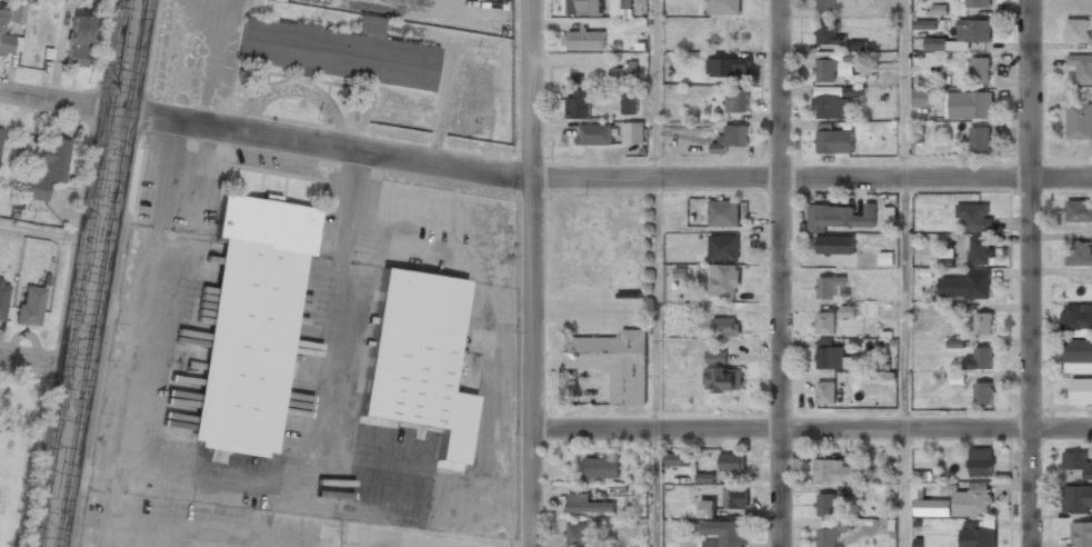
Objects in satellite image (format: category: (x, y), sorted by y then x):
building: (79, 0)
building: (680, 0)
building: (975, 3)
building: (621, 6)
building: (824, 6)
building: (723, 7)
building: (582, 8)
building: (14, 13)
building: (924, 24)
building: (973, 31)
building: (1076, 31)
building: (584, 34)
building: (829, 36)
building: (8, 40)
building: (78, 41)
building: (936, 44)
building: (958, 46)
building: (334, 52)
building: (849, 62)
building: (727, 67)
building: (1081, 68)
building: (979, 70)
building: (624, 71)
building: (825, 71)
road: (654, 89)
road: (903, 89)
building: (923, 98)
building: (628, 102)
building: (738, 102)
building: (579, 105)
building: (969, 106)
building: (831, 108)
building: (1079, 122)
building: (0, 130)
building: (633, 133)
building: (594, 135)
building: (731, 138)
building: (980, 140)
building: (833, 142)
building: (46, 170)
road: (542, 179)
building: (1079, 210)
building: (723, 212)
building: (842, 215)
building: (973, 216)
road: (48, 232)
building: (723, 243)
building: (980, 249)
building: (839, 250)
building: (1078, 253)
building: (885, 258)
road: (531, 272)
road: (1030, 272)
road: (91, 273)
road: (780, 273)
building: (723, 279)
building: (964, 285)
building: (828, 286)
building: (2, 299)
road: (903, 302)
road: (655, 304)
building: (29, 307)
building: (848, 311)
building: (1076, 317)
building: (825, 322)
building: (983, 322)
building: (249, 324)
building: (725, 326)
building: (1079, 355)
building: (717, 356)
building: (831, 357)
building: (980, 359)
building: (418, 360)
building: (614, 362)
road: (38, 366)
building: (723, 379)
building: (1081, 389)
building: (825, 392)
building: (983, 394)
road: (811, 428)
park: (20, 449)
building: (677, 459)
building: (731, 461)
building: (980, 461)
building: (1076, 461)
building: (602, 468)
building: (834, 470)
building: (922, 483)
road: (655, 487)
road: (903, 487)
building: (846, 490)
building: (733, 498)
building: (1078, 498)
building: (970, 499)
building: (826, 504)
building: (587, 505)
building: (707, 508)
building: (830, 531)
building: (725, 533)
building: (575, 534)
building: (978, 534)
building: (1081, 534)

